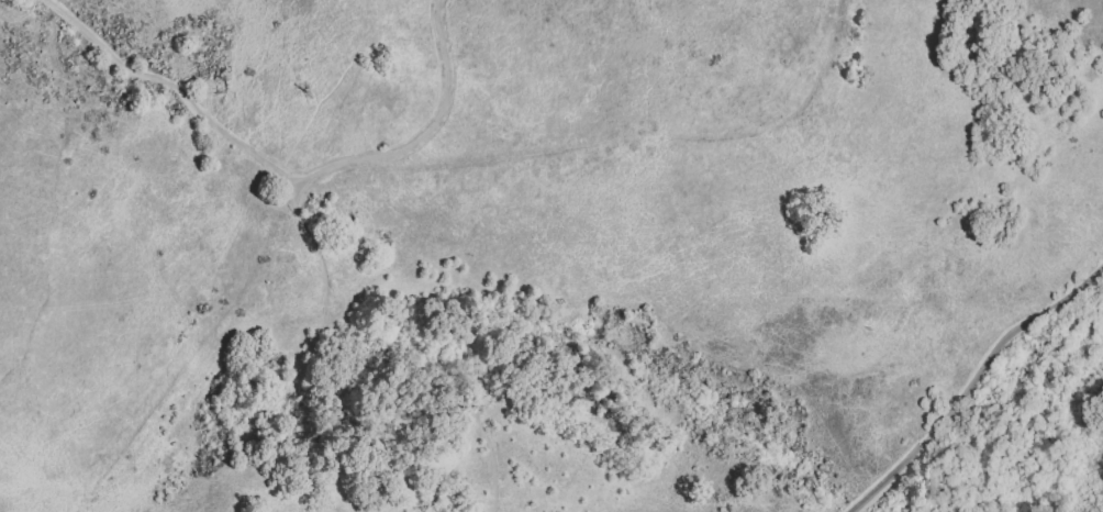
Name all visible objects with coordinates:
road: (177, 86)
road: (423, 140)
road: (971, 382)
road: (352, 392)

